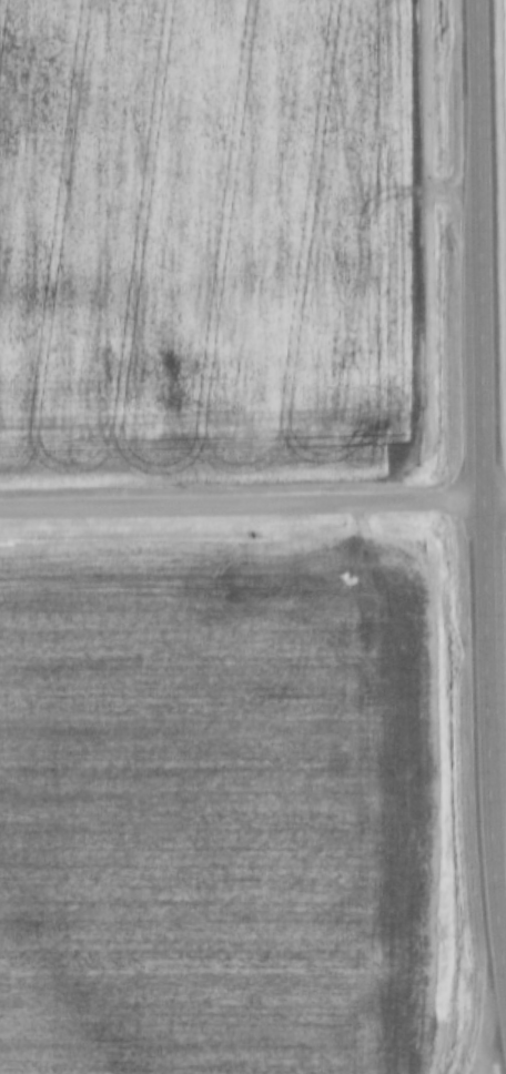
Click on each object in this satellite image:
crop: (211, 242)
road: (252, 501)
road: (482, 518)
crop: (216, 807)
road: (487, 1050)

